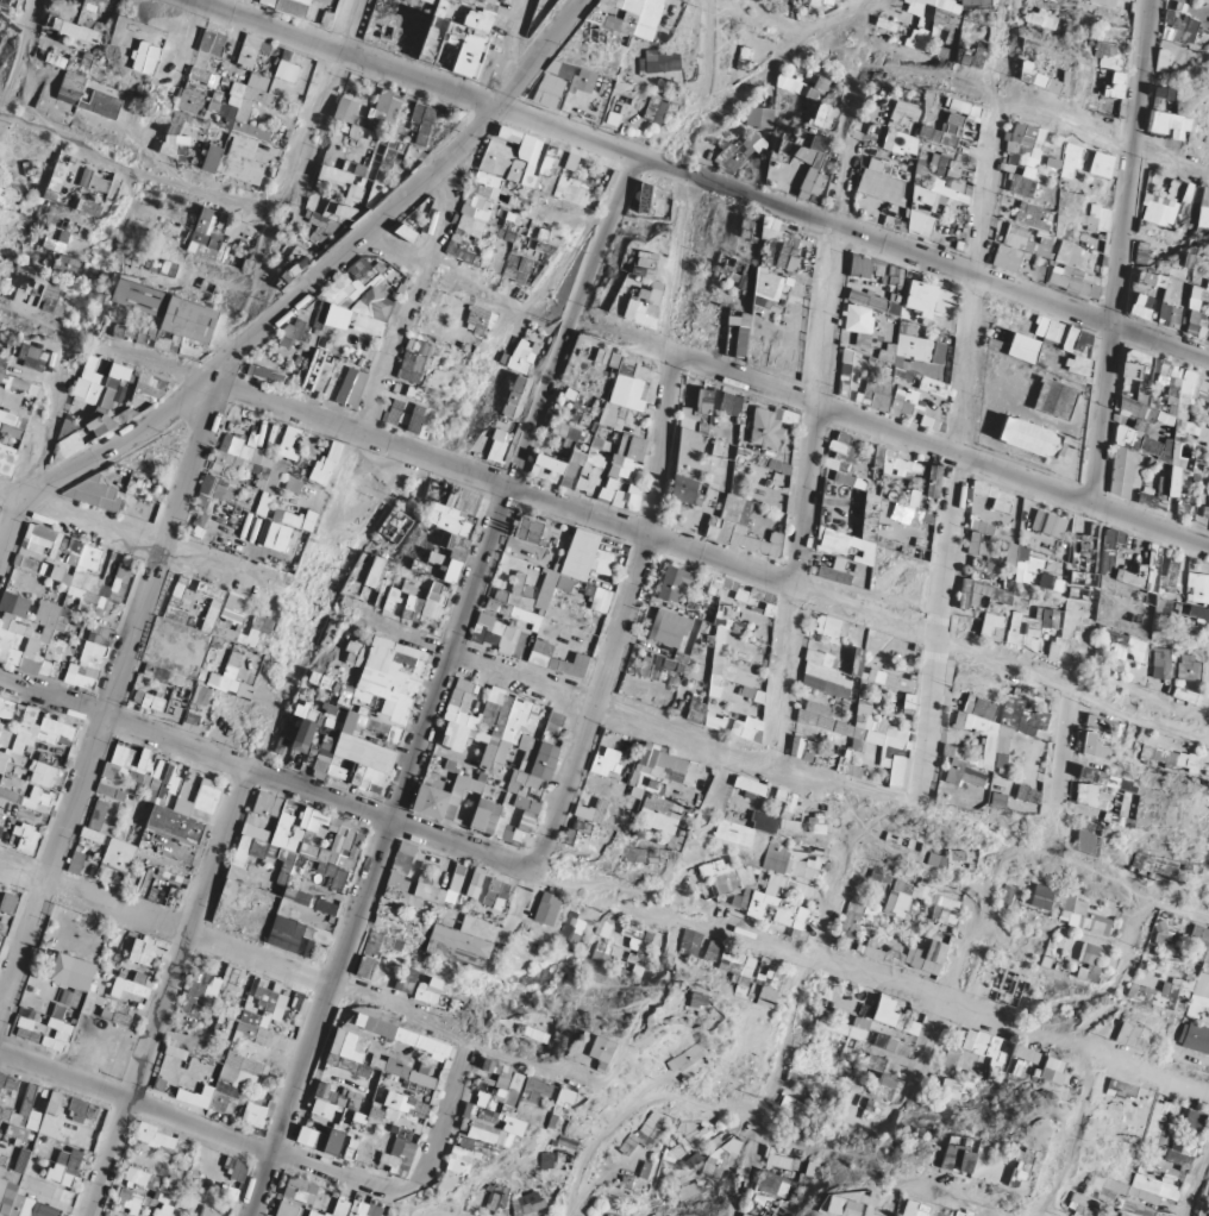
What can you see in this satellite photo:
road: (1123, 250)

